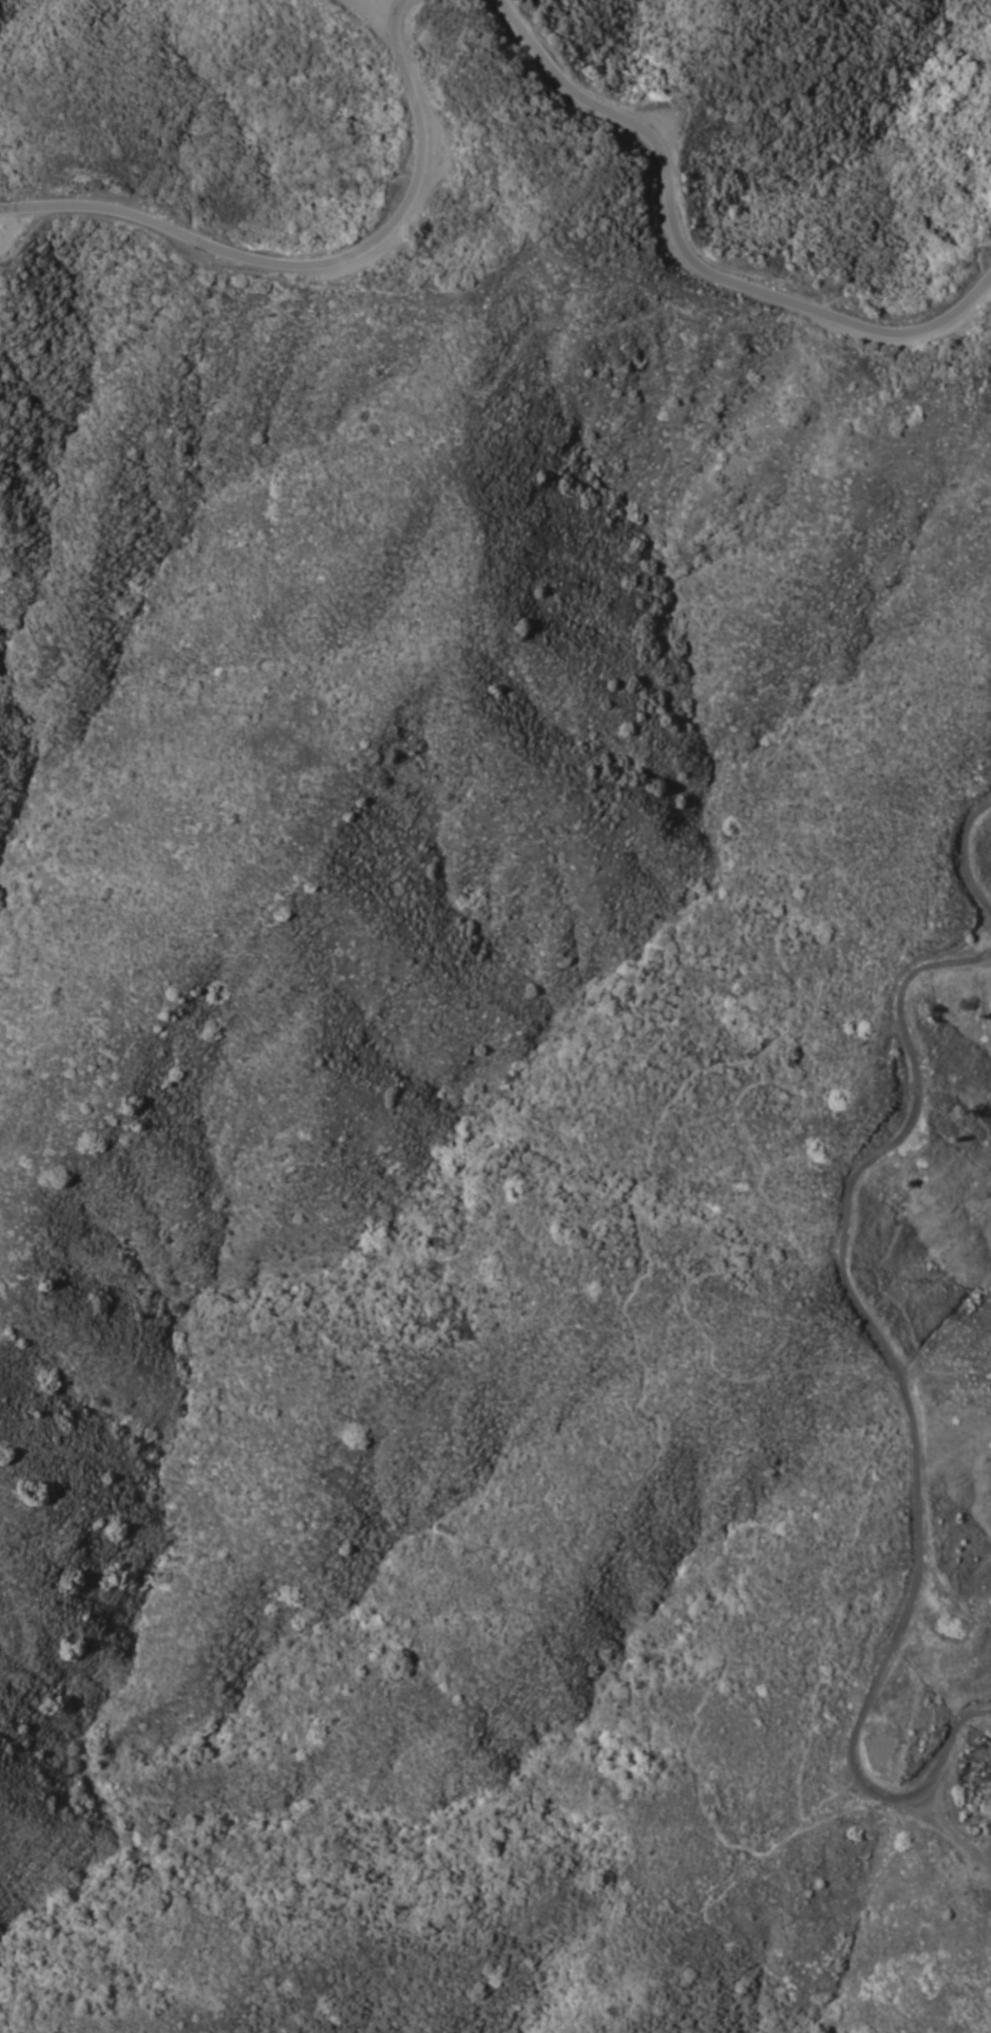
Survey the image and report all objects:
road: (691, 256)
road: (314, 258)
road: (975, 853)
road: (977, 1119)
road: (887, 1297)
road: (895, 1354)
road: (955, 1762)
road: (956, 1833)

